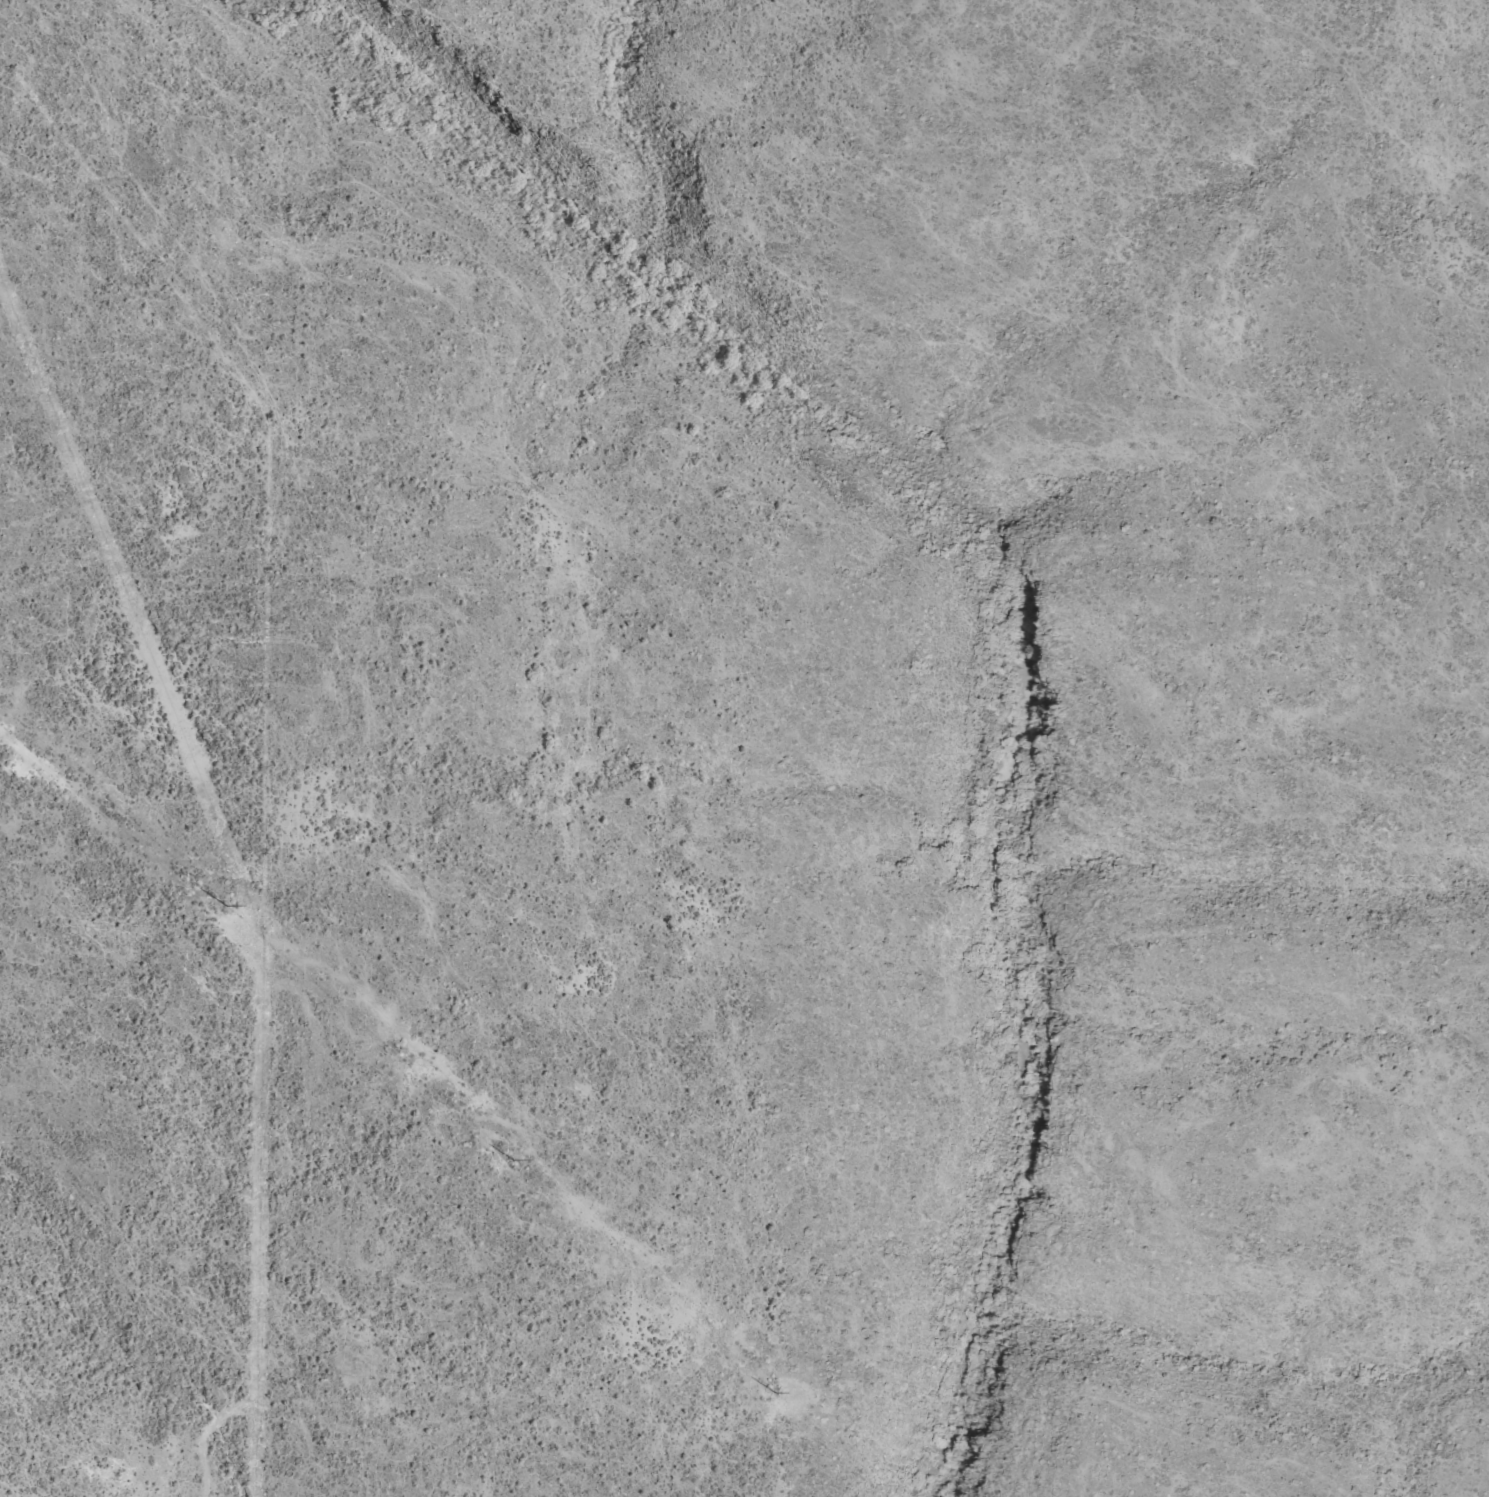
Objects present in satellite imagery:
power tower: (224, 910)
power tower: (510, 1159)
power tower: (774, 1392)

